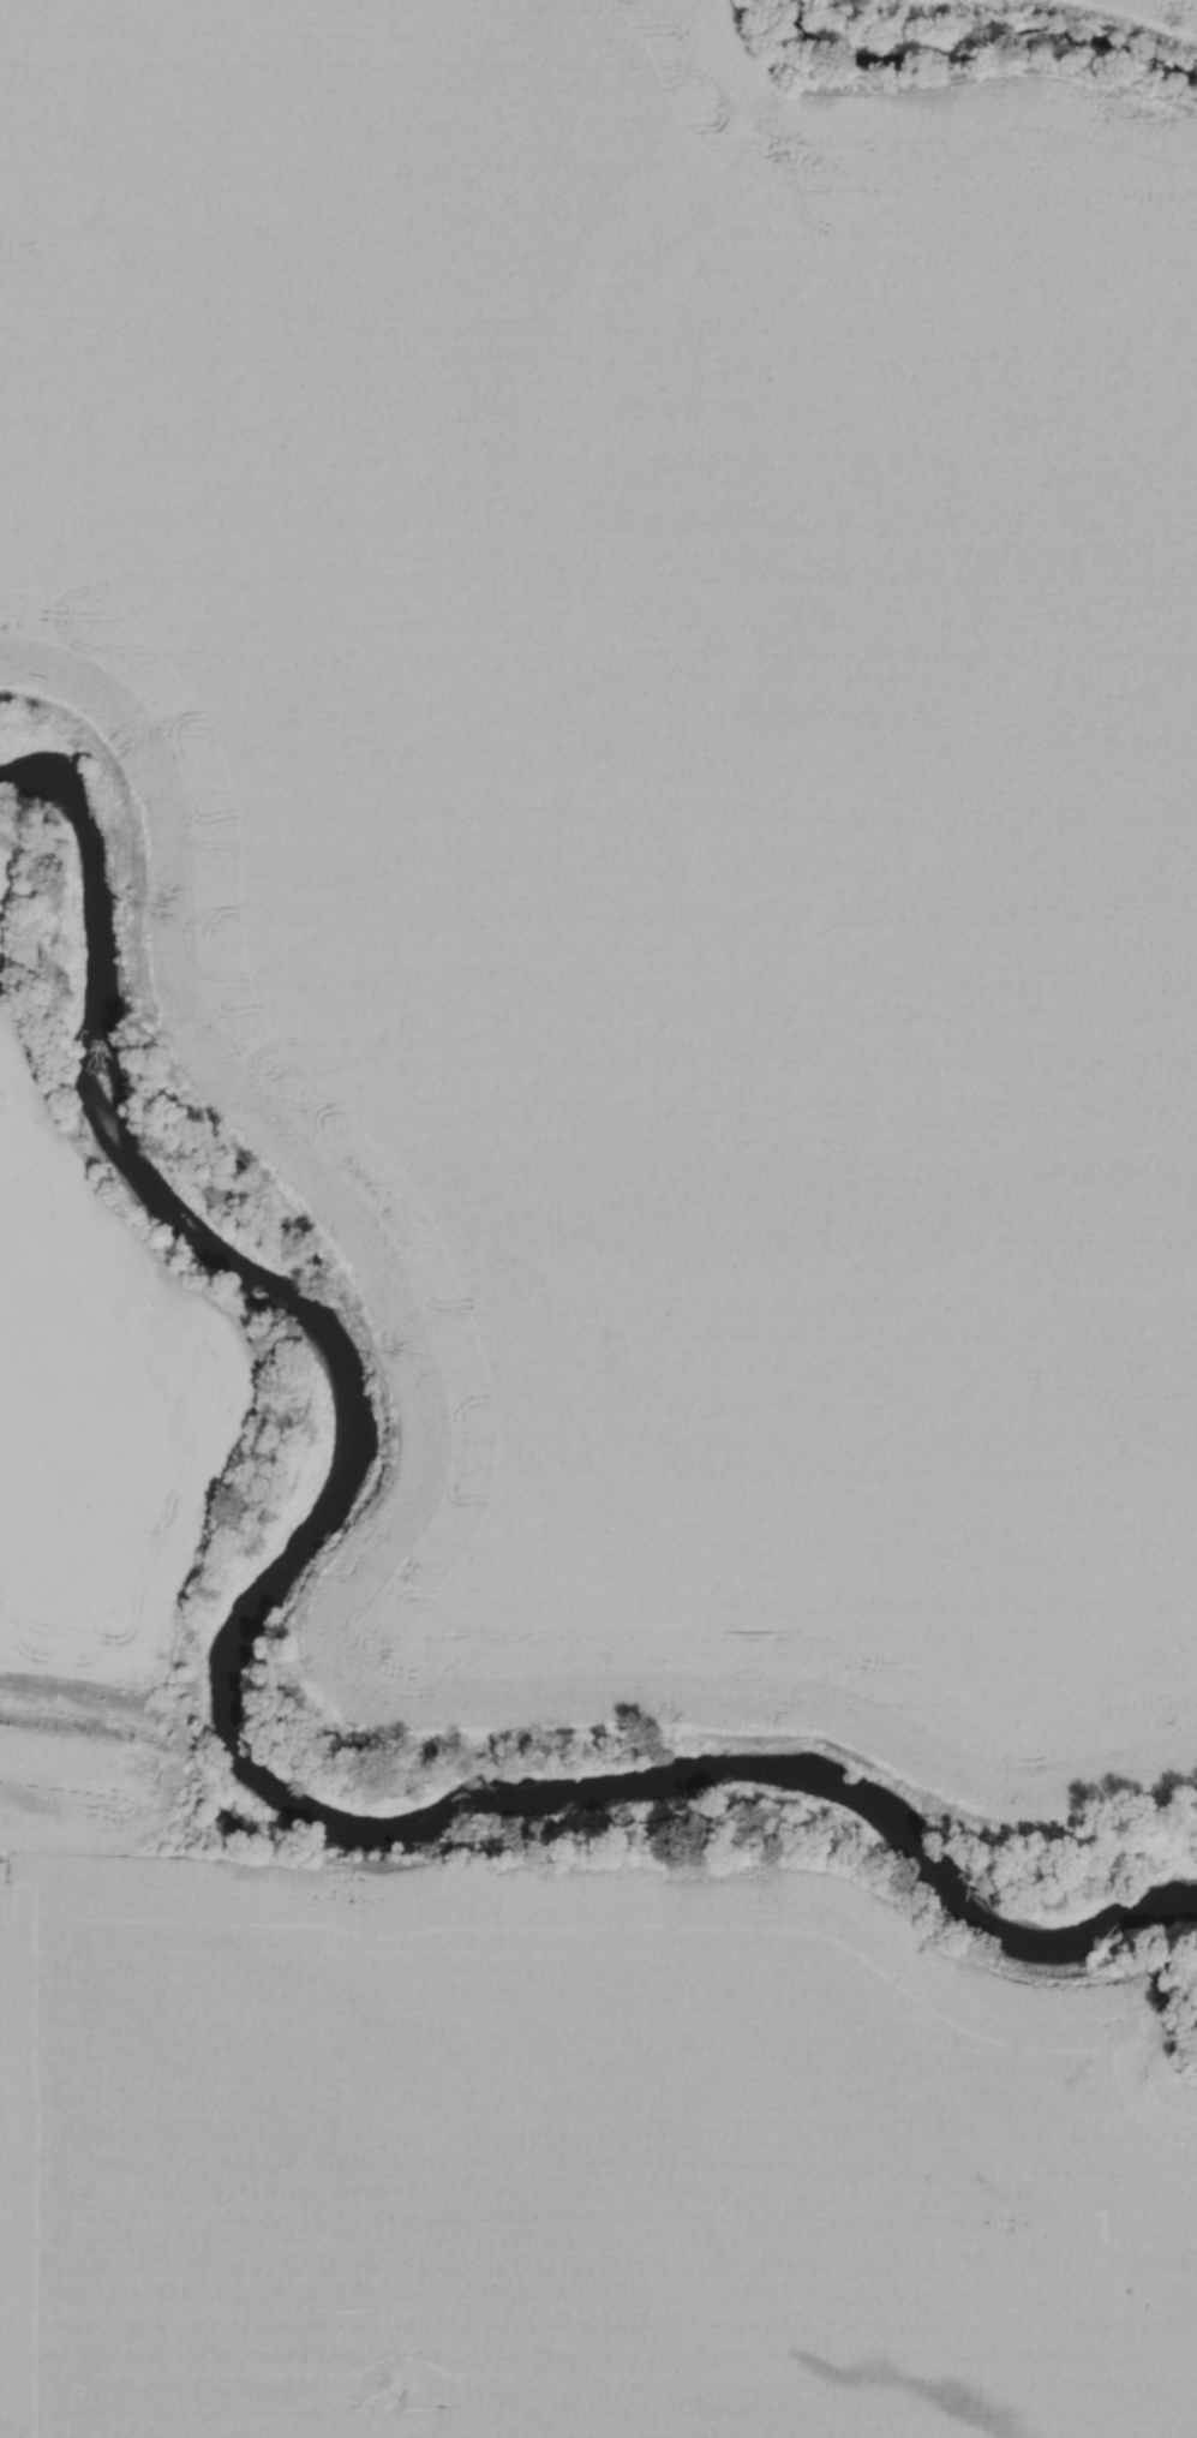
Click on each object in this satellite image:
river: (988, 38)
river: (222, 1684)
power tower: (401, 2388)

